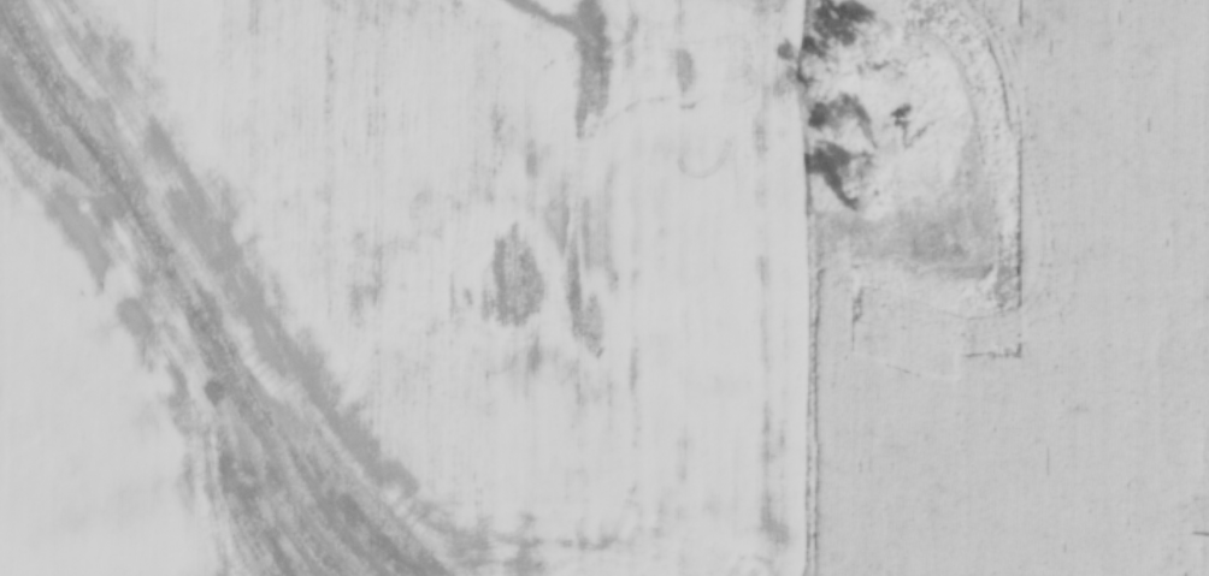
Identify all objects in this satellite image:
building: (1151, 558)

